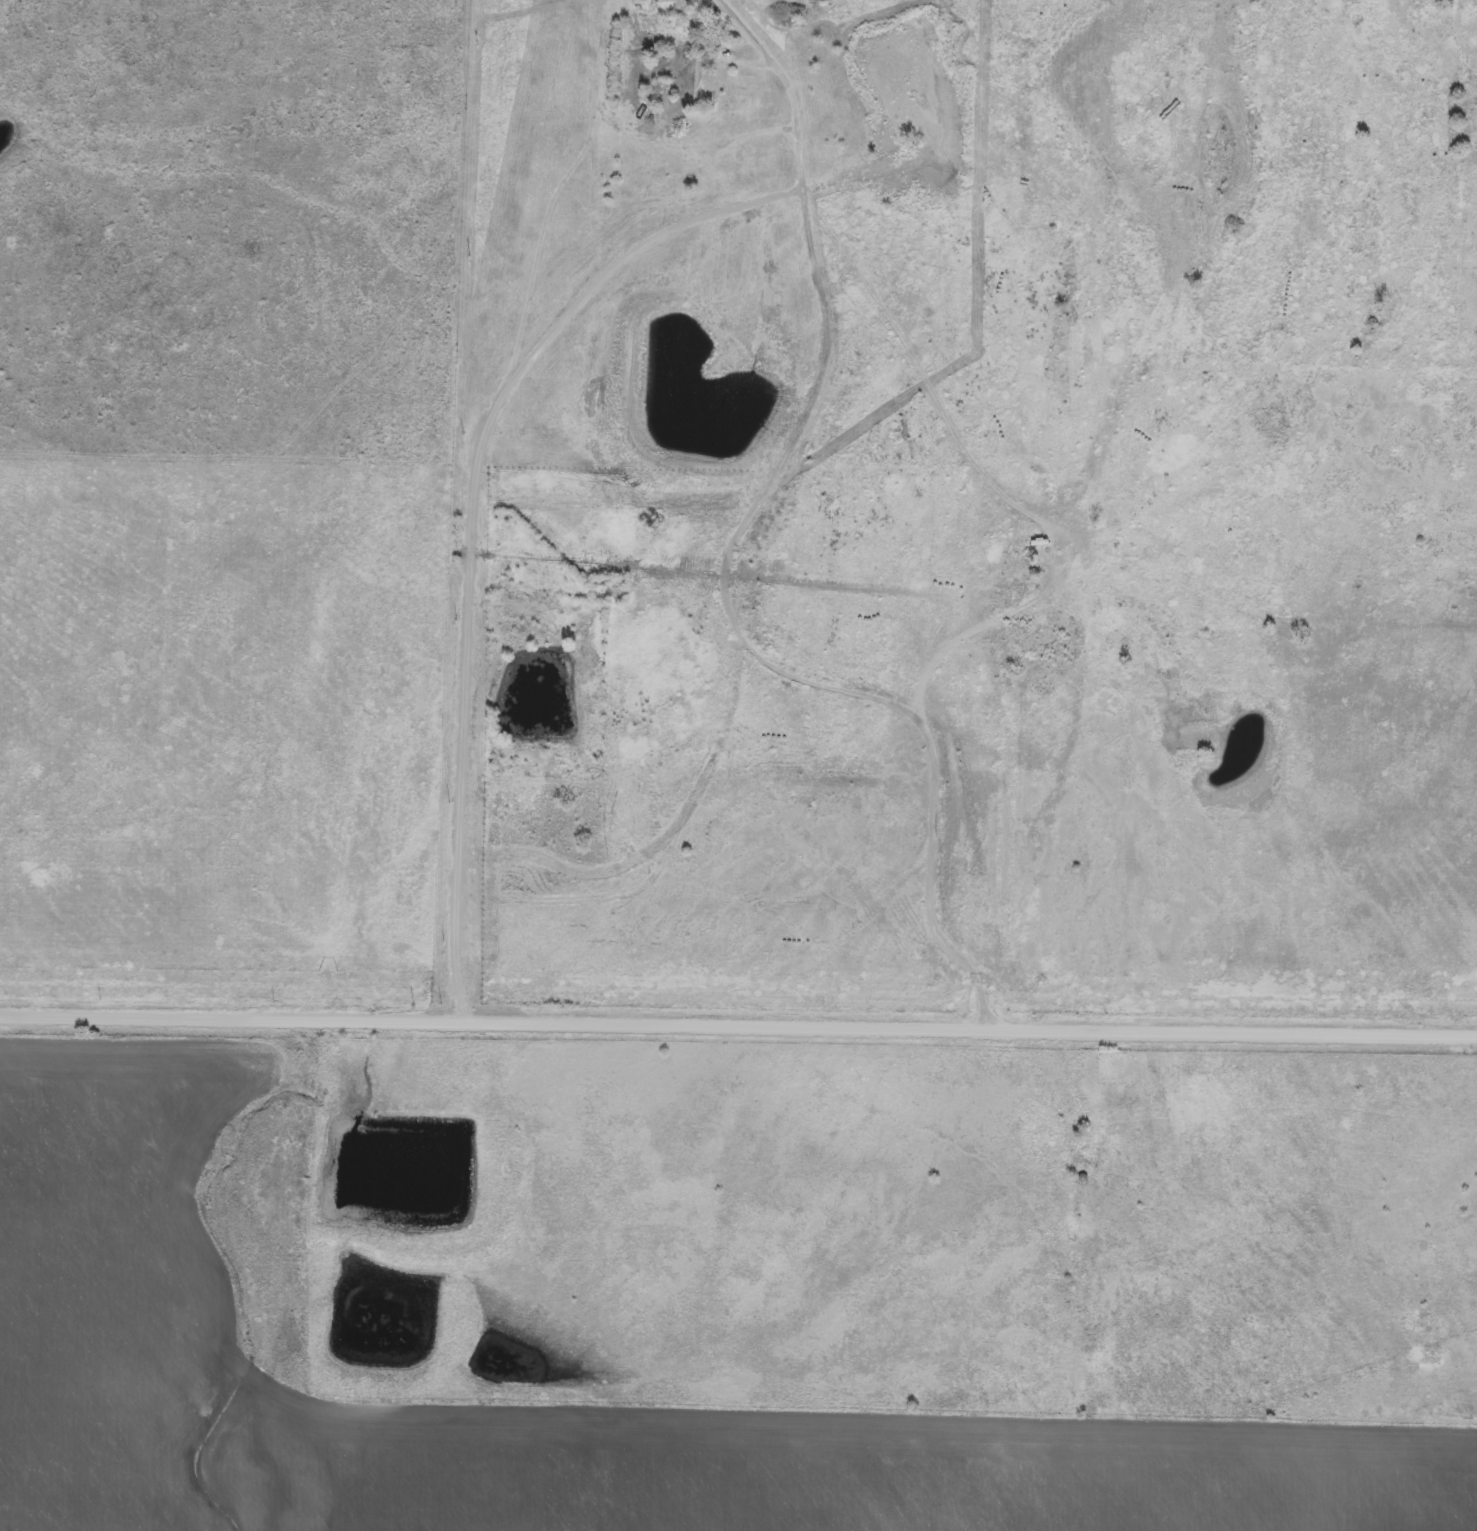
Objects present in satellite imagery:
building: (690, 82)
road: (637, 134)
building: (663, 209)
road: (610, 504)
road: (691, 551)
road: (723, 563)
building: (599, 583)
road: (738, 1030)

